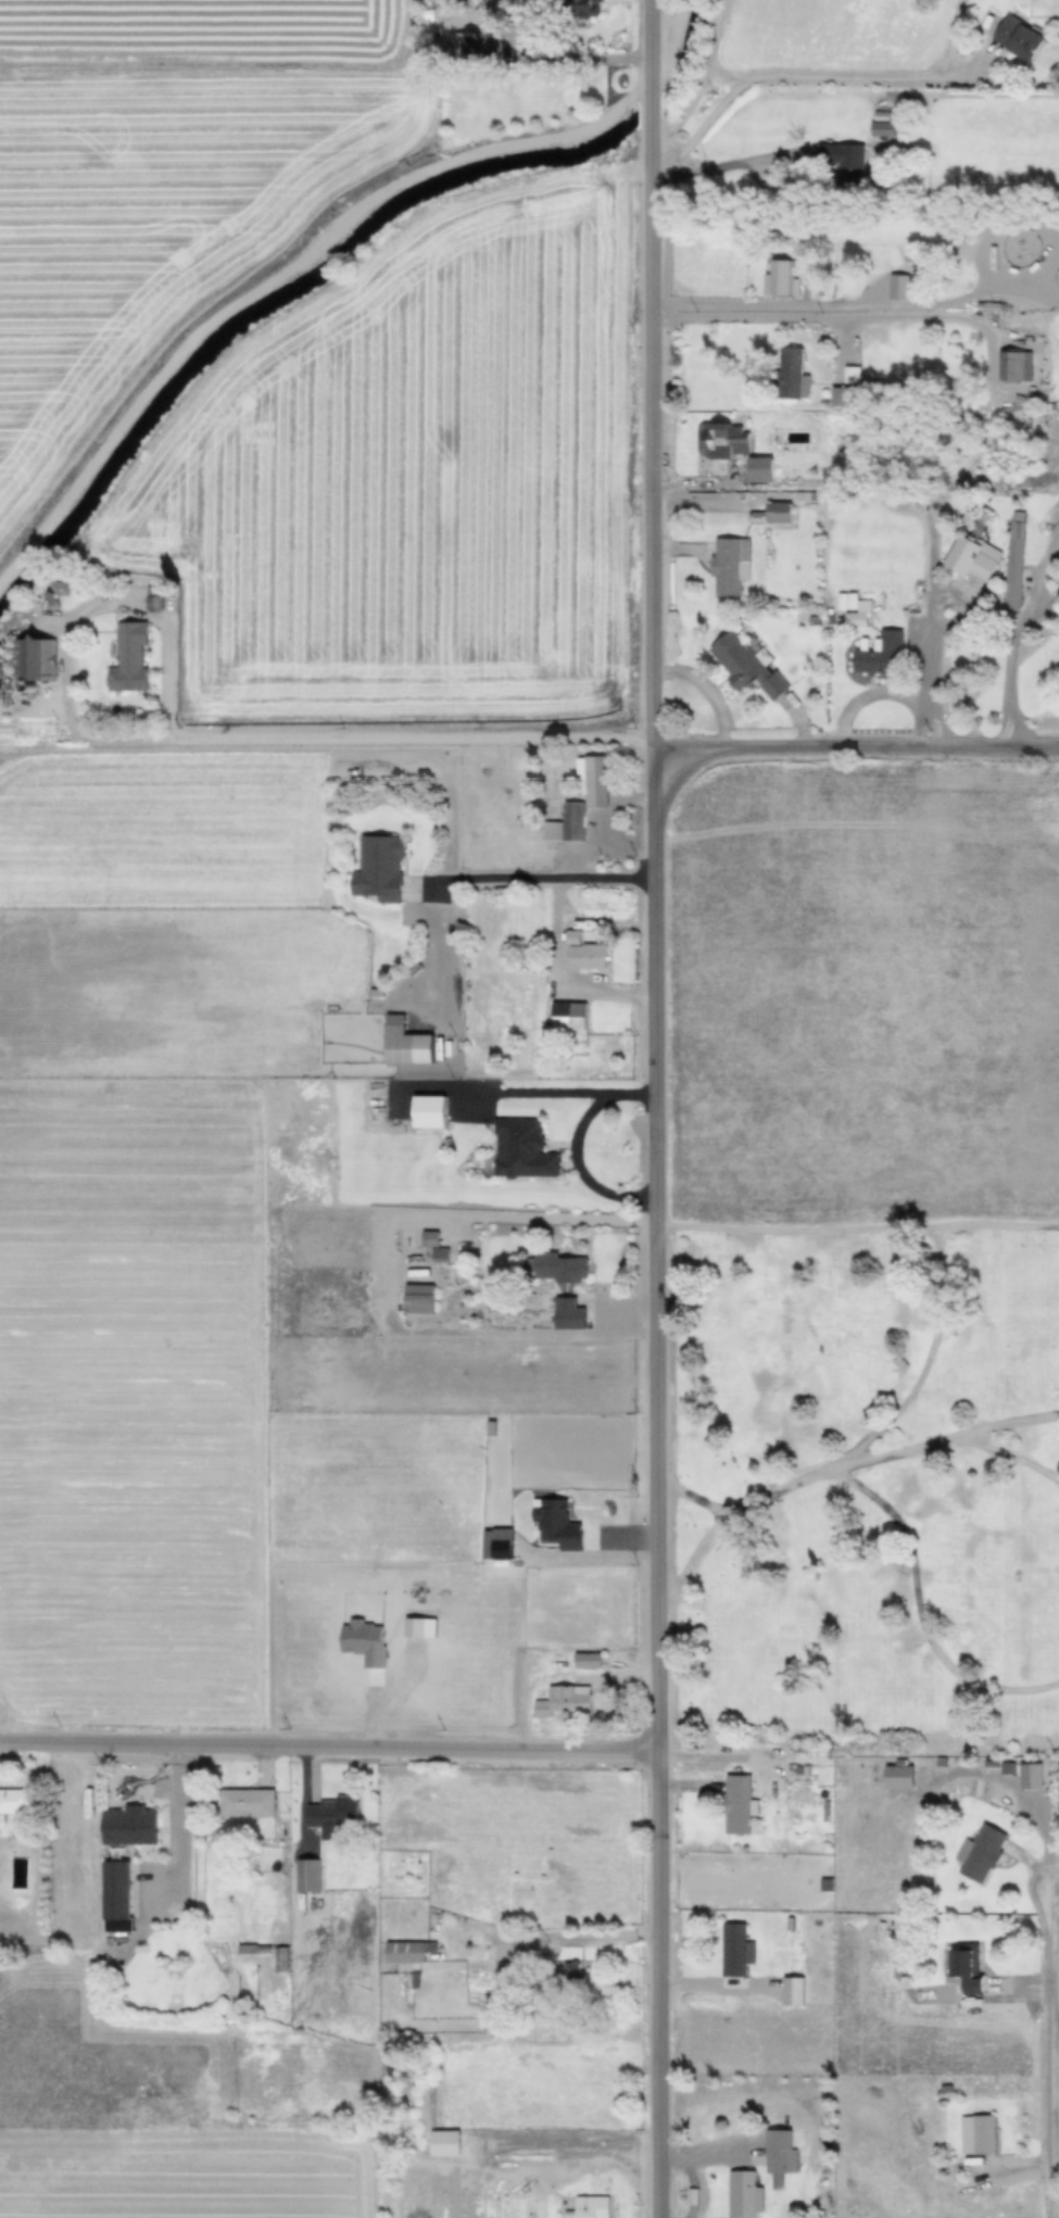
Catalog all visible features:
building: (582, 7)
building: (1018, 37)
building: (472, 46)
road: (809, 77)
building: (881, 127)
road: (786, 155)
building: (842, 161)
road: (698, 169)
road: (322, 252)
building: (780, 276)
building: (897, 286)
road: (965, 297)
road: (821, 311)
building: (1013, 364)
building: (789, 373)
road: (1035, 373)
building: (721, 439)
building: (757, 468)
road: (696, 497)
building: (777, 511)
building: (970, 557)
building: (728, 564)
building: (1012, 564)
building: (60, 587)
building: (152, 597)
road: (933, 610)
building: (855, 618)
road: (164, 627)
building: (879, 653)
building: (127, 657)
building: (33, 658)
road: (1012, 661)
building: (744, 663)
road: (706, 689)
road: (935, 690)
road: (483, 741)
building: (579, 802)
building: (378, 866)
road: (550, 878)
building: (571, 935)
building: (585, 956)
building: (567, 1015)
building: (404, 1042)
road: (655, 1108)
building: (428, 1111)
building: (521, 1149)
road: (552, 1219)
road: (857, 1232)
building: (429, 1239)
building: (439, 1255)
building: (555, 1268)
building: (418, 1299)
building: (567, 1318)
road: (1017, 1423)
road: (951, 1439)
road: (696, 1499)
road: (728, 1521)
road: (912, 1617)
building: (528, 1658)
building: (585, 1659)
building: (562, 1699)
road: (328, 1743)
building: (1006, 1766)
building: (1029, 1774)
building: (15, 1801)
building: (245, 1801)
building: (735, 1803)
building: (331, 1812)
road: (171, 1819)
building: (127, 1823)
building: (981, 1853)
building: (114, 1888)
road: (569, 1937)
building: (732, 1948)
building: (406, 1949)
building: (279, 1957)
building: (966, 1967)
building: (566, 1971)
road: (1051, 2047)
building: (976, 2133)
building: (442, 2141)
building: (779, 2162)
building: (742, 2194)
building: (588, 2206)

